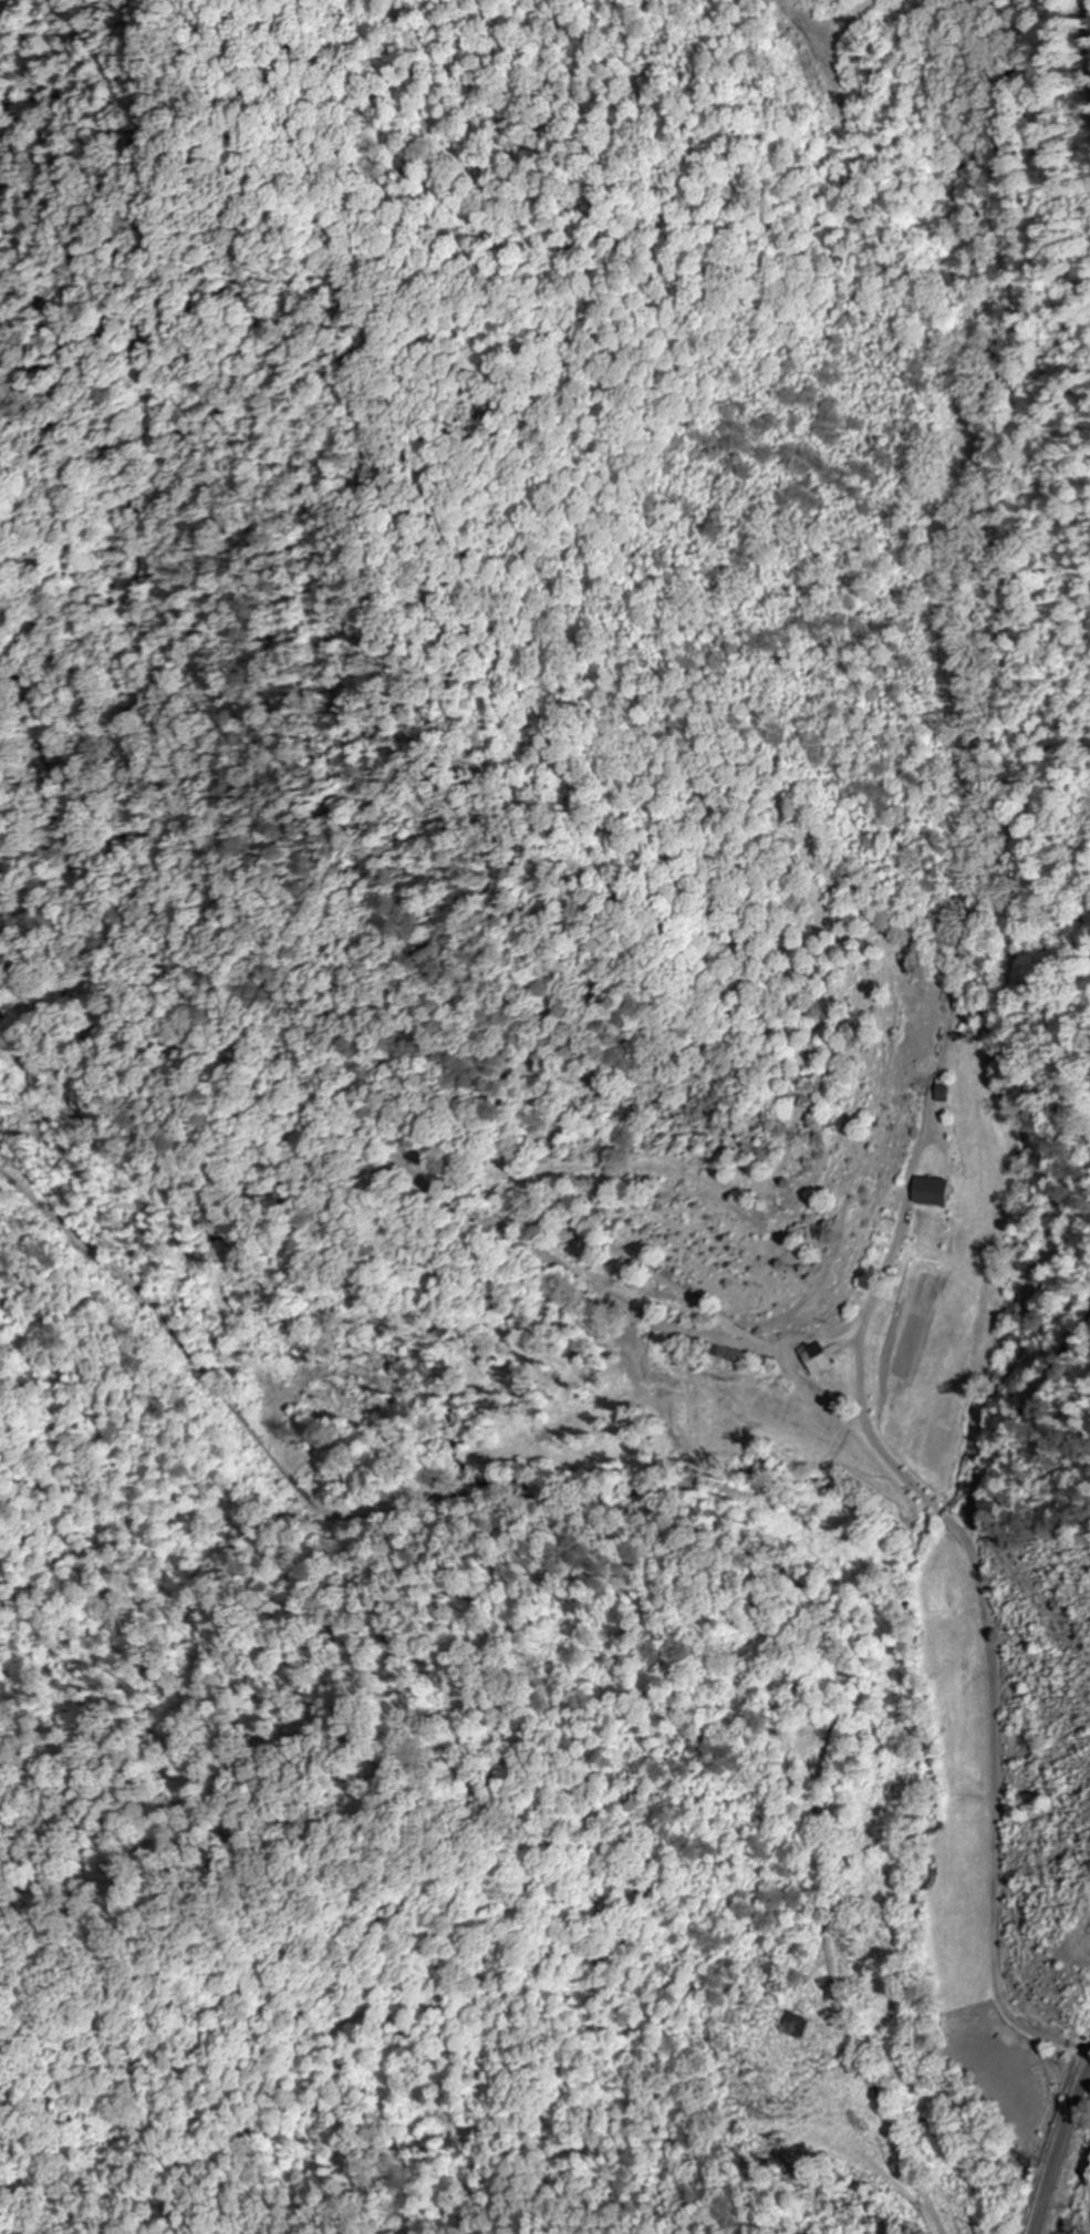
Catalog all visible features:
building: (43, 764)
road: (1036, 1084)
building: (688, 1171)
building: (926, 1192)
building: (749, 1359)
building: (813, 1361)
building: (790, 2025)
road: (1056, 2151)
road: (932, 2205)

